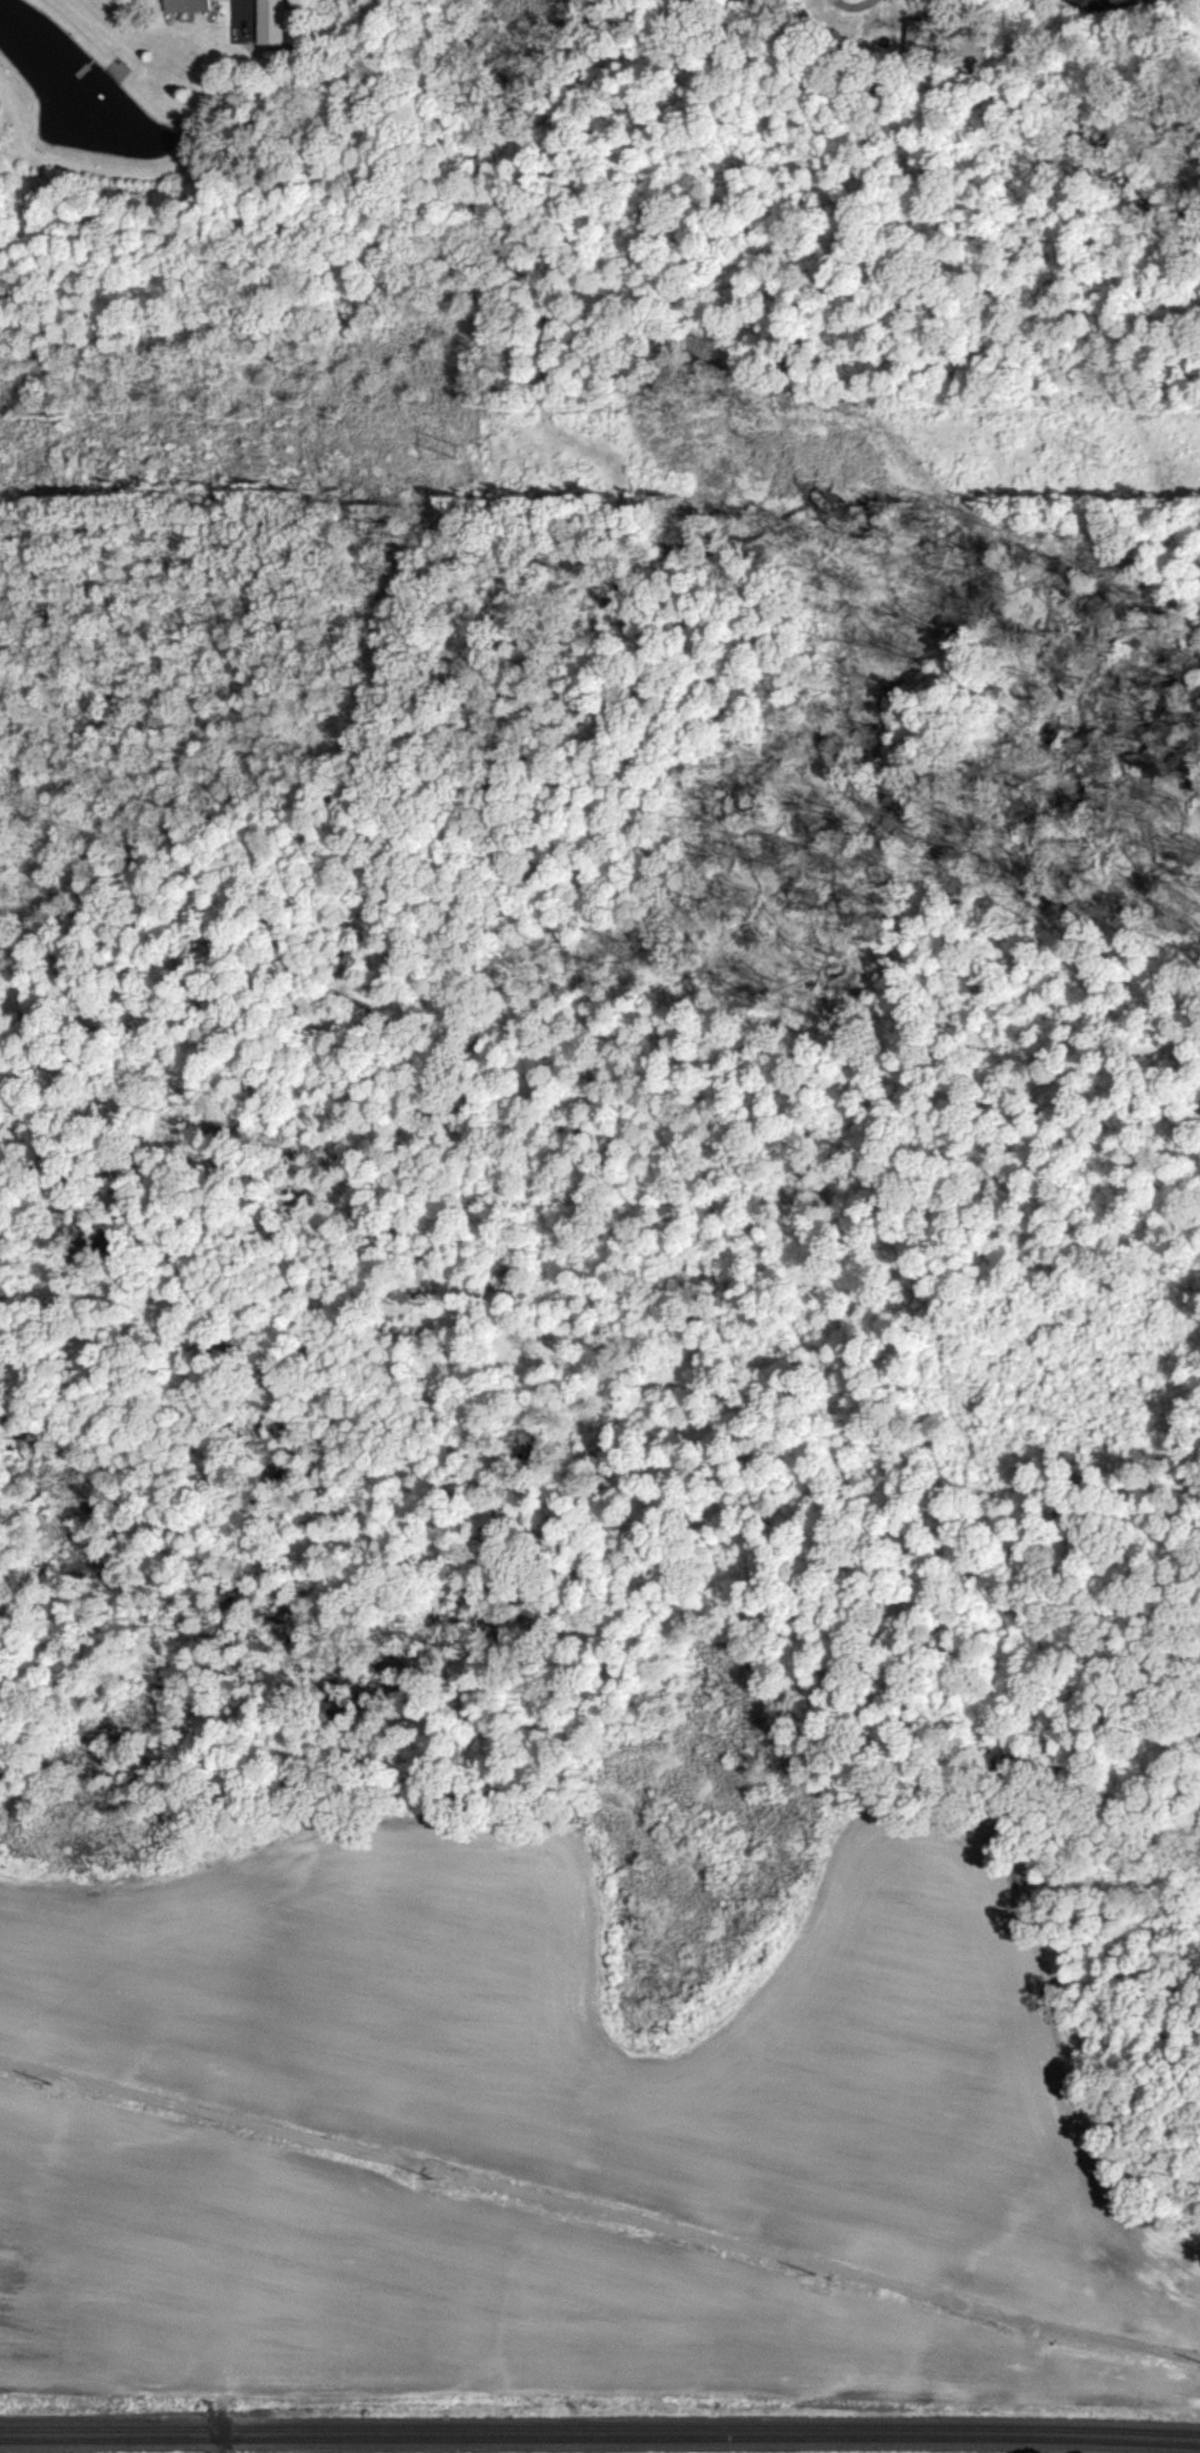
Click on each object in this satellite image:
building: (184, 5)
road: (252, 7)
building: (271, 21)
railway: (600, 2428)
railway: (600, 2438)

